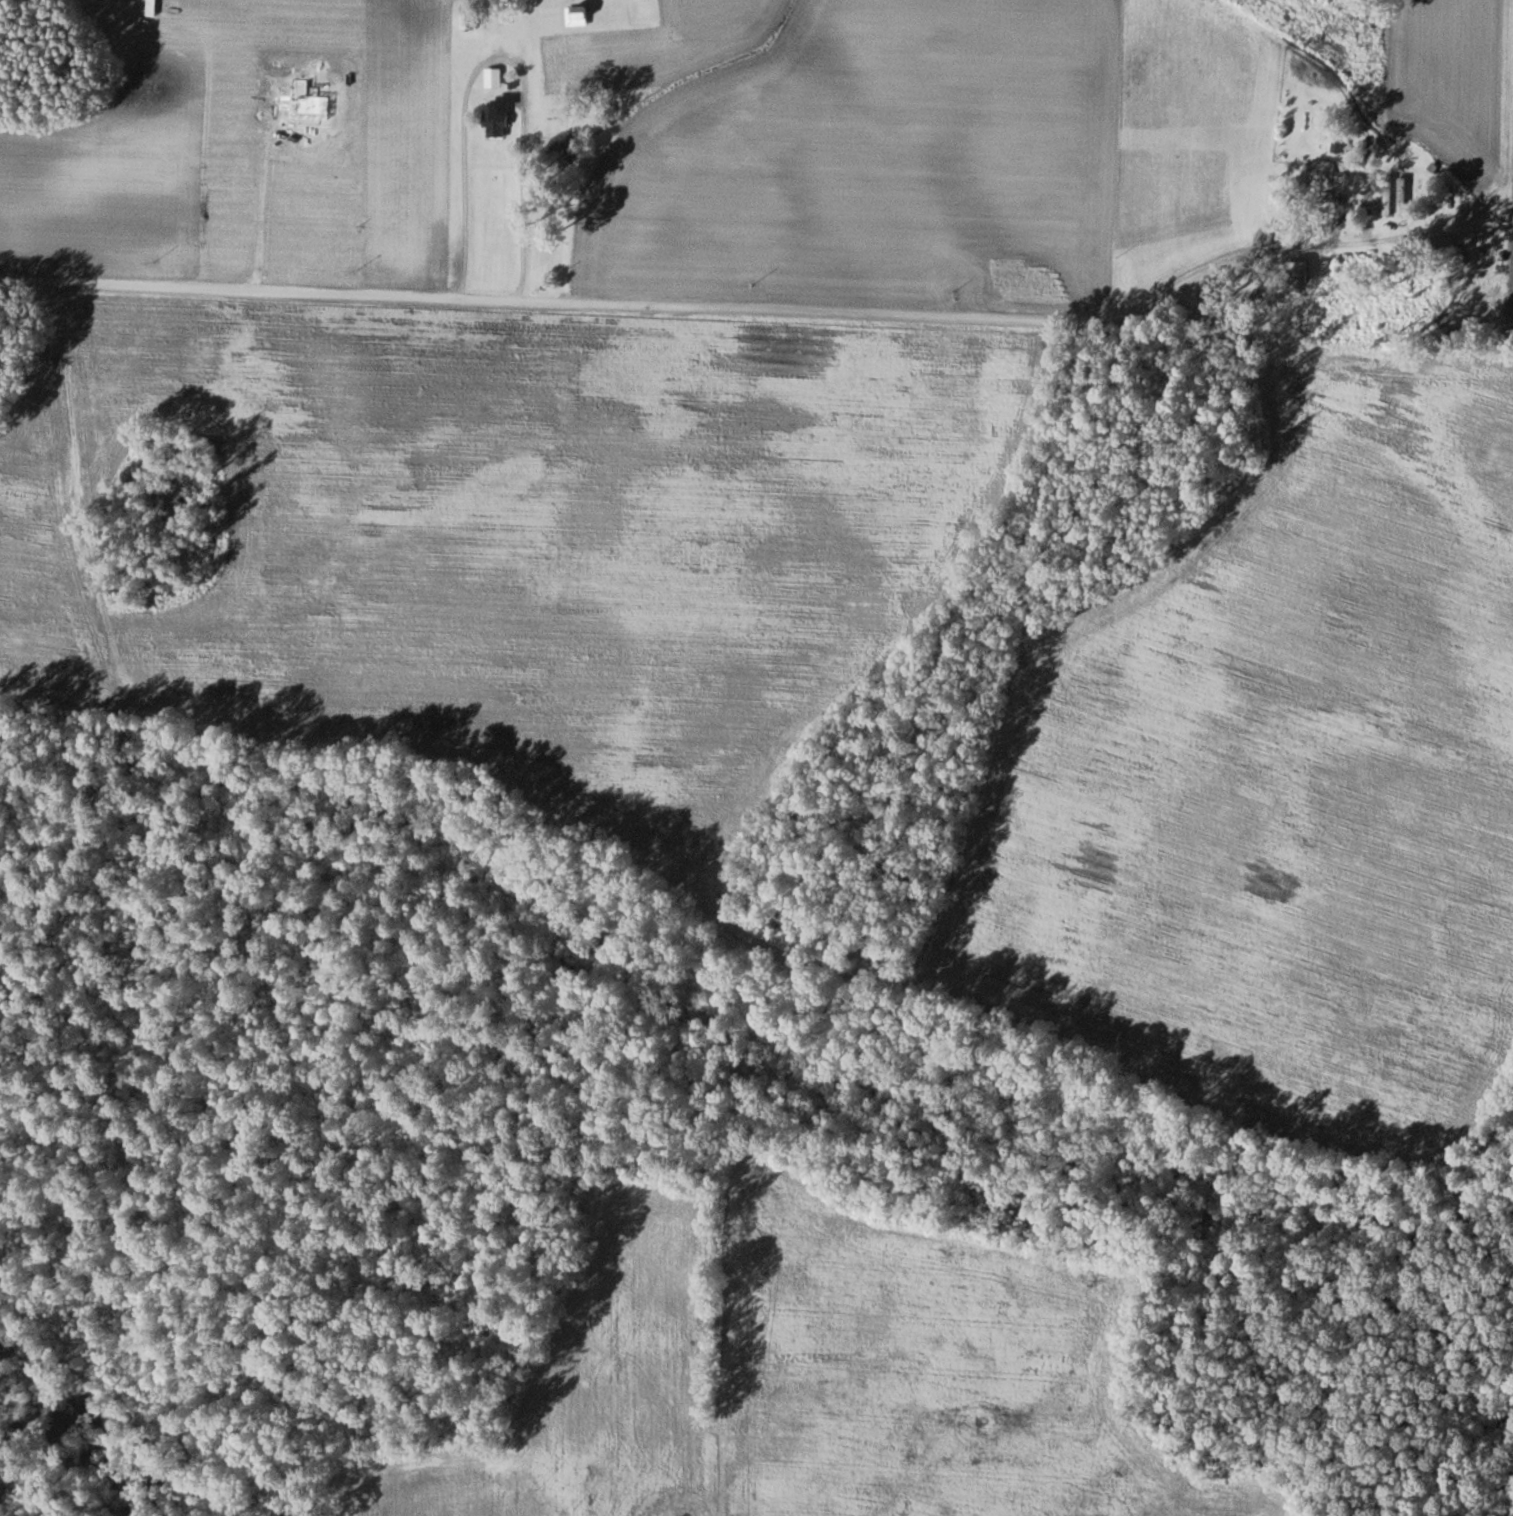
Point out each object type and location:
building: (576, 15)
building: (467, 19)
building: (494, 121)
building: (1322, 174)
building: (1402, 193)
building: (1387, 195)
road: (654, 306)

